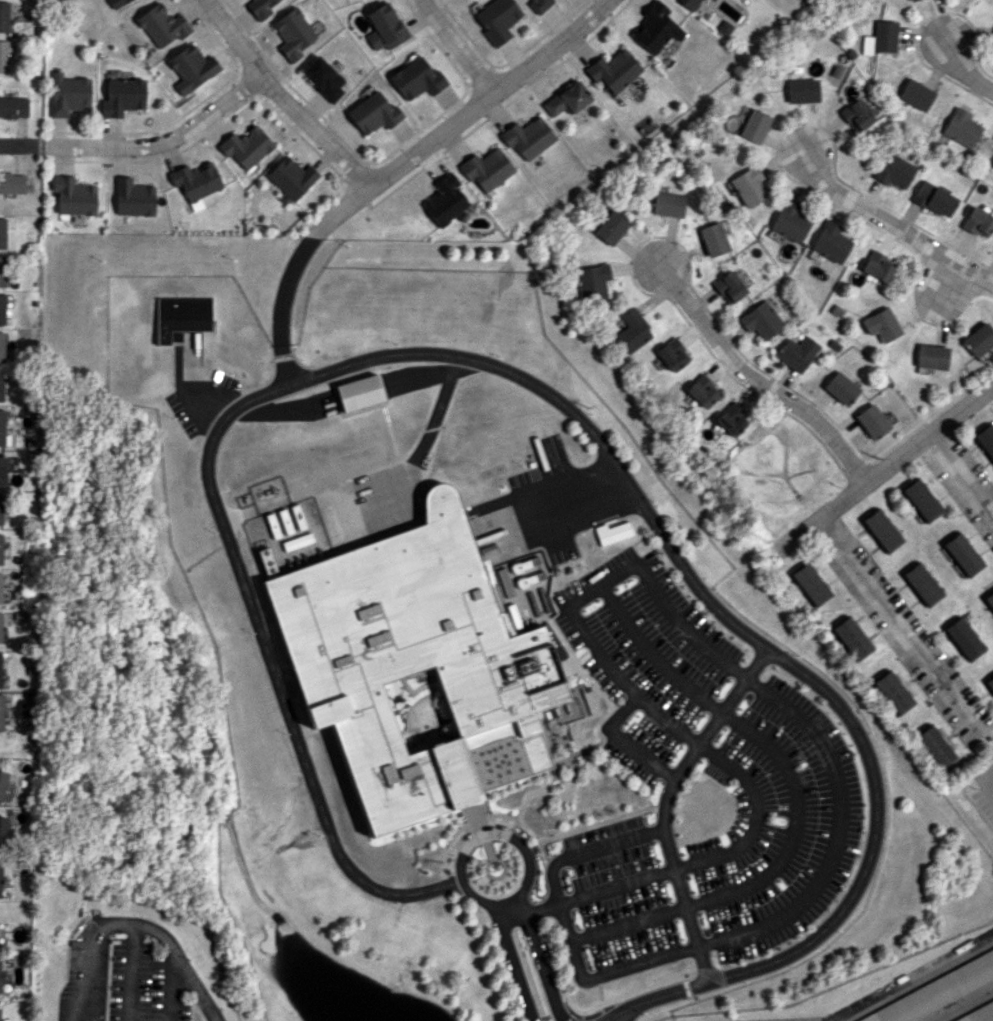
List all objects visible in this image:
building: (910, 0)
building: (116, 3)
building: (691, 3)
building: (539, 4)
building: (260, 8)
building: (3, 16)
building: (497, 19)
building: (161, 25)
building: (386, 27)
building: (655, 27)
building: (293, 33)
building: (880, 38)
road: (459, 45)
building: (3, 55)
road: (968, 65)
building: (191, 68)
building: (614, 70)
building: (324, 77)
building: (417, 79)
building: (801, 90)
building: (68, 94)
building: (915, 94)
building: (122, 96)
road: (282, 96)
building: (566, 99)
building: (13, 107)
building: (374, 113)
building: (855, 115)
road: (458, 117)
building: (754, 126)
building: (960, 128)
building: (528, 137)
road: (166, 140)
road: (18, 142)
road: (43, 143)
building: (246, 147)
building: (988, 154)
building: (486, 168)
building: (893, 170)
building: (290, 178)
building: (196, 182)
building: (11, 183)
building: (748, 185)
building: (73, 196)
building: (133, 197)
building: (933, 199)
building: (445, 200)
building: (668, 204)
road: (892, 221)
building: (789, 222)
building: (977, 222)
building: (610, 226)
building: (2, 233)
building: (712, 239)
building: (830, 241)
building: (877, 266)
building: (2, 271)
road: (947, 278)
building: (591, 282)
road: (285, 286)
building: (727, 287)
building: (2, 309)
building: (836, 310)
building: (181, 316)
building: (759, 320)
building: (881, 325)
building: (631, 331)
building: (978, 339)
building: (1, 347)
building: (795, 353)
building: (671, 354)
building: (931, 356)
road: (283, 364)
road: (419, 378)
road: (756, 379)
building: (1, 385)
building: (840, 388)
building: (701, 391)
building: (359, 392)
road: (208, 404)
road: (284, 409)
building: (728, 419)
building: (871, 421)
building: (1, 428)
road: (425, 439)
building: (986, 440)
road: (884, 466)
road: (962, 468)
building: (3, 470)
building: (920, 499)
building: (1, 508)
road: (554, 510)
building: (880, 529)
building: (611, 532)
road: (226, 539)
building: (0, 548)
building: (961, 553)
building: (528, 571)
building: (921, 583)
building: (809, 584)
building: (0, 587)
building: (989, 600)
road: (904, 624)
building: (0, 625)
building: (851, 638)
building: (962, 638)
building: (413, 667)
building: (990, 683)
building: (892, 692)
building: (1, 712)
road: (850, 726)
road: (684, 735)
road: (621, 741)
building: (933, 746)
road: (988, 776)
building: (3, 784)
road: (793, 799)
road: (665, 803)
building: (3, 833)
road: (587, 851)
road: (456, 872)
building: (0, 883)
road: (812, 888)
road: (528, 913)
road: (136, 922)
road: (539, 958)
road: (512, 962)
road: (715, 970)
road: (127, 971)
road: (915, 979)
building: (0, 981)
road: (170, 984)
building: (937, 990)
road: (621, 994)
building: (0, 1013)
building: (977, 1014)
road: (74, 1016)

